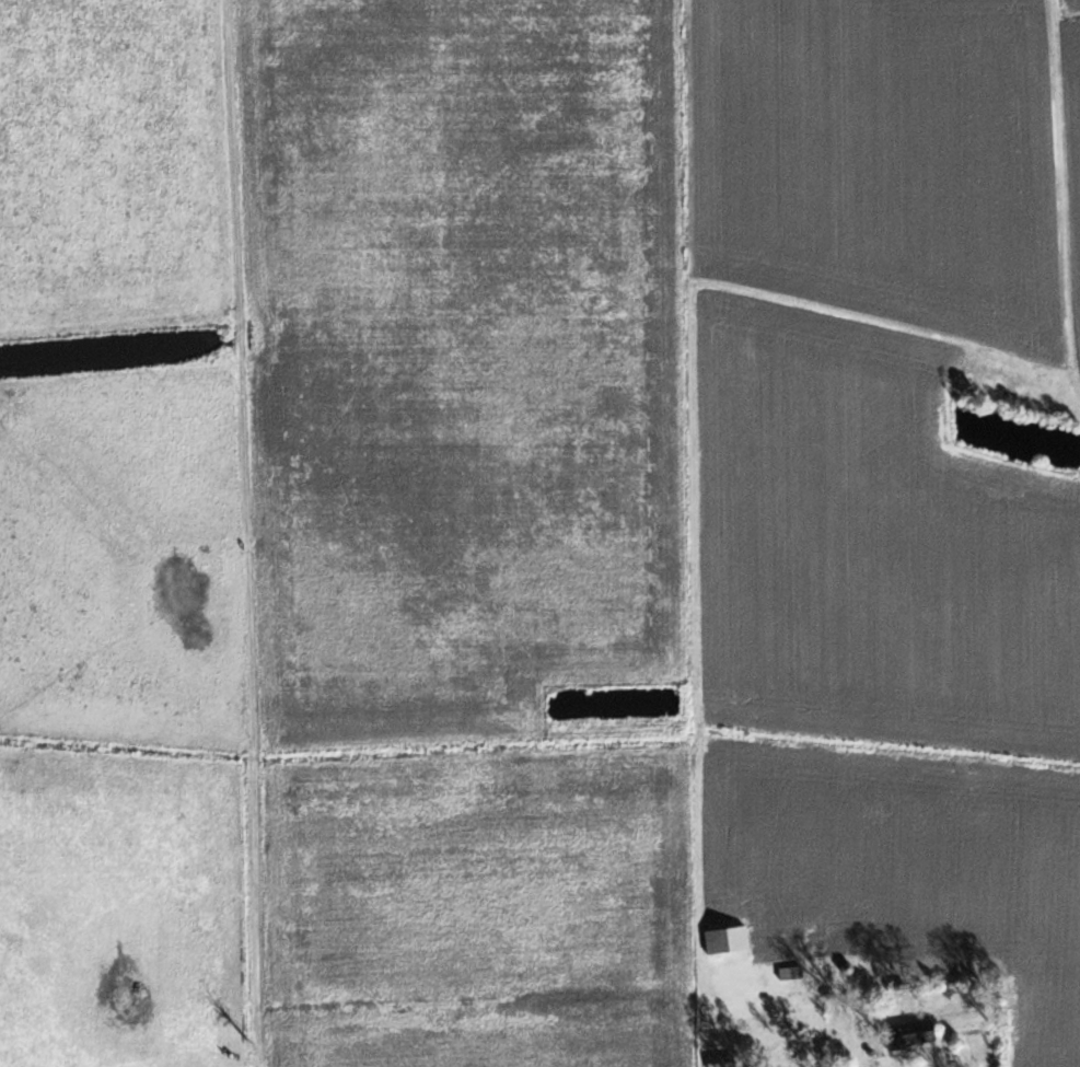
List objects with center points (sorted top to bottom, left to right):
building: (727, 940)
building: (791, 973)
building: (908, 1034)
building: (718, 1062)

